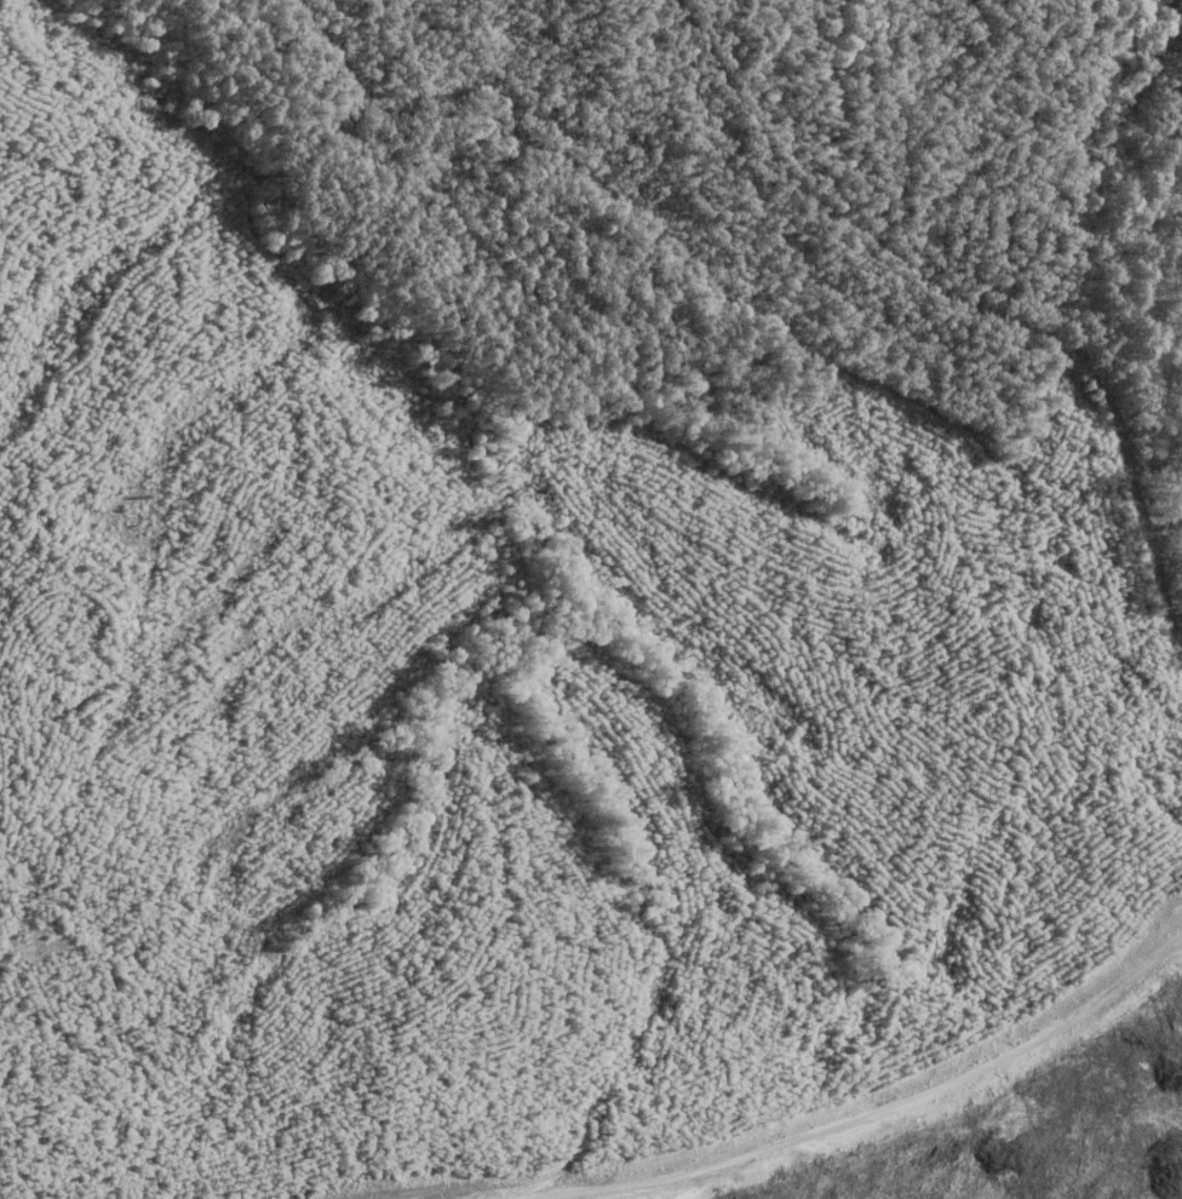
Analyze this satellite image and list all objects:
road: (765, 1141)

